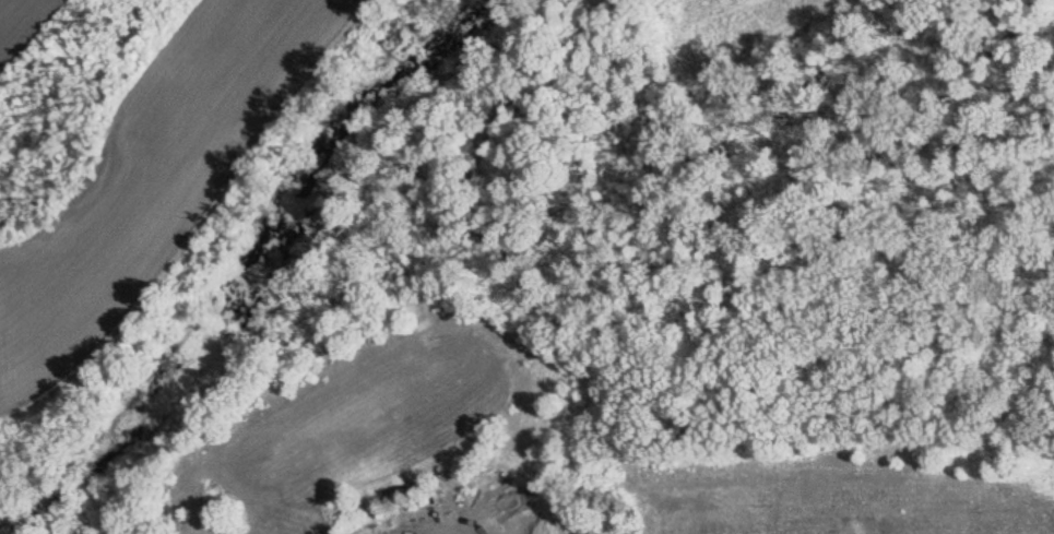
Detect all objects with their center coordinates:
road: (210, 219)
road: (67, 476)

